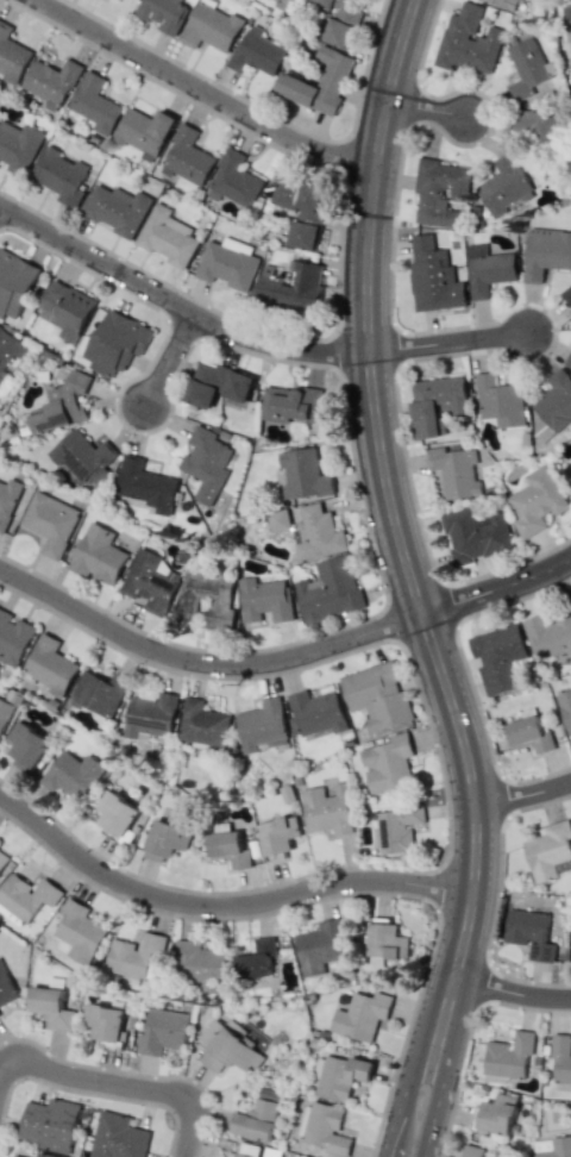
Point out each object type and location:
building: (504, 4)
building: (285, 5)
building: (164, 13)
building: (566, 13)
building: (340, 21)
building: (209, 27)
building: (468, 42)
building: (258, 52)
building: (12, 55)
building: (529, 73)
building: (333, 79)
building: (51, 82)
road: (202, 92)
building: (95, 104)
road: (427, 111)
building: (537, 125)
building: (144, 132)
building: (18, 145)
building: (188, 157)
building: (61, 175)
building: (236, 179)
building: (504, 183)
building: (439, 192)
building: (117, 208)
building: (301, 211)
building: (167, 238)
building: (546, 252)
building: (227, 263)
building: (488, 269)
building: (433, 276)
building: (14, 282)
building: (291, 287)
building: (567, 294)
road: (176, 301)
building: (67, 309)
building: (117, 343)
road: (450, 343)
building: (8, 351)
road: (170, 357)
building: (569, 362)
building: (218, 384)
building: (500, 401)
building: (556, 401)
building: (63, 404)
building: (289, 404)
building: (435, 404)
building: (207, 463)
building: (456, 470)
building: (567, 470)
building: (303, 475)
building: (146, 484)
building: (8, 501)
building: (537, 501)
building: (278, 519)
road: (395, 520)
building: (51, 521)
building: (316, 533)
building: (475, 534)
building: (99, 555)
building: (151, 582)
building: (330, 589)
road: (498, 589)
building: (206, 598)
building: (265, 600)
building: (548, 636)
building: (13, 638)
building: (498, 657)
road: (205, 661)
building: (49, 665)
building: (99, 693)
building: (377, 695)
building: (565, 708)
building: (316, 712)
building: (4, 713)
building: (150, 717)
building: (261, 724)
building: (202, 725)
building: (529, 734)
building: (26, 746)
building: (388, 763)
building: (73, 774)
road: (522, 799)
building: (327, 809)
building: (117, 815)
building: (397, 827)
building: (278, 834)
building: (167, 839)
building: (230, 849)
building: (548, 850)
building: (2, 858)
building: (26, 896)
road: (221, 906)
building: (80, 932)
building: (529, 933)
building: (387, 942)
building: (320, 946)
building: (137, 956)
building: (257, 958)
building: (201, 964)
building: (6, 987)
road: (513, 988)
building: (51, 1006)
building: (0, 1015)
building: (362, 1015)
building: (107, 1024)
building: (163, 1031)
building: (227, 1049)
building: (508, 1056)
building: (561, 1058)
road: (423, 1061)
building: (339, 1076)
road: (117, 1084)
road: (438, 1095)
road: (406, 1101)
building: (495, 1114)
building: (258, 1115)
building: (49, 1124)
building: (325, 1127)
road: (396, 1136)
building: (118, 1137)
building: (551, 1146)
building: (247, 1150)
building: (477, 1151)
building: (44, 1155)
building: (17, 1156)

